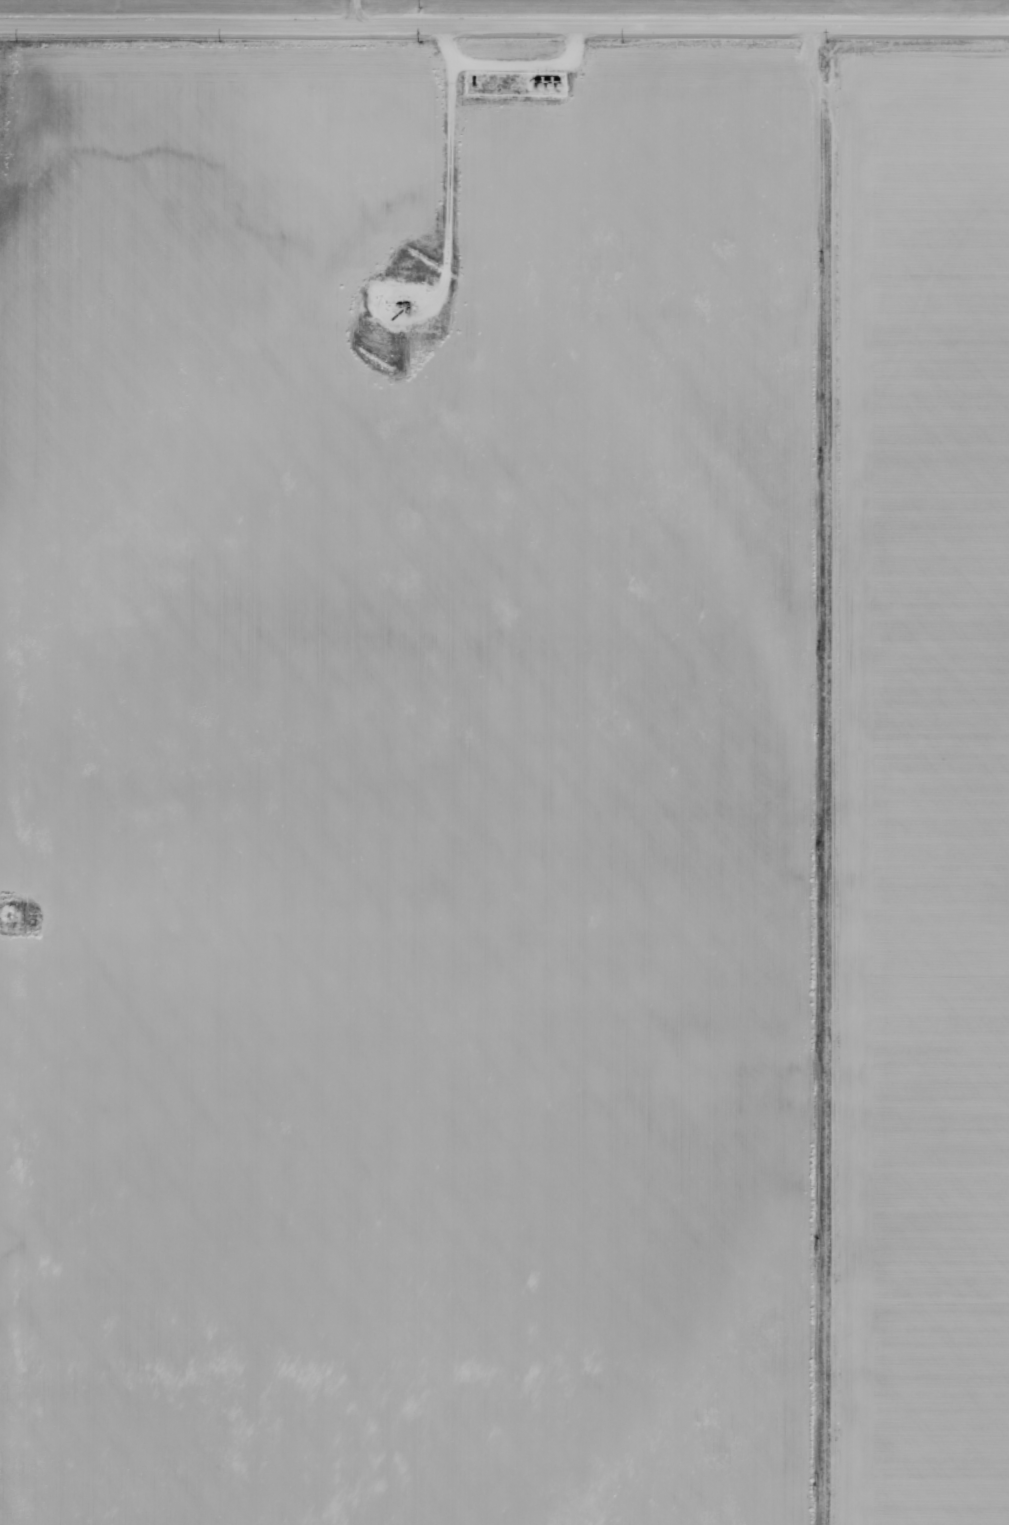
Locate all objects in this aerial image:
road: (351, 13)
road: (504, 26)
road: (527, 64)
road: (449, 161)
road: (822, 775)

